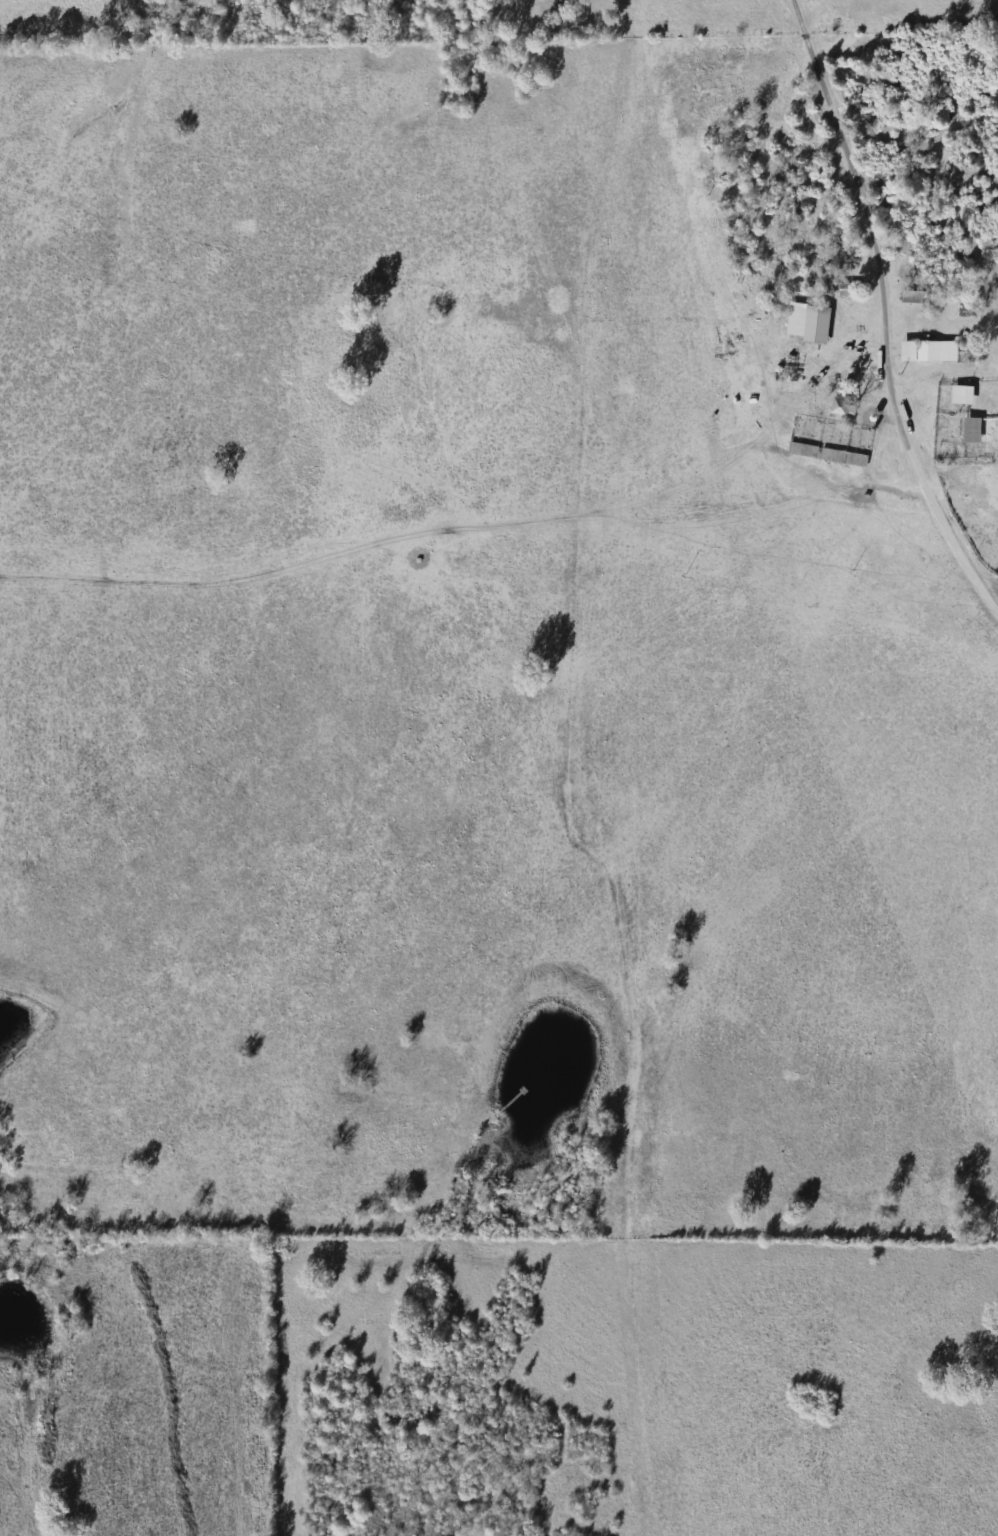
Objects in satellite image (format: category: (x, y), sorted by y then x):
building: (912, 297)
road: (882, 313)
building: (810, 323)
building: (930, 351)
building: (964, 395)
building: (974, 430)
building: (821, 441)

